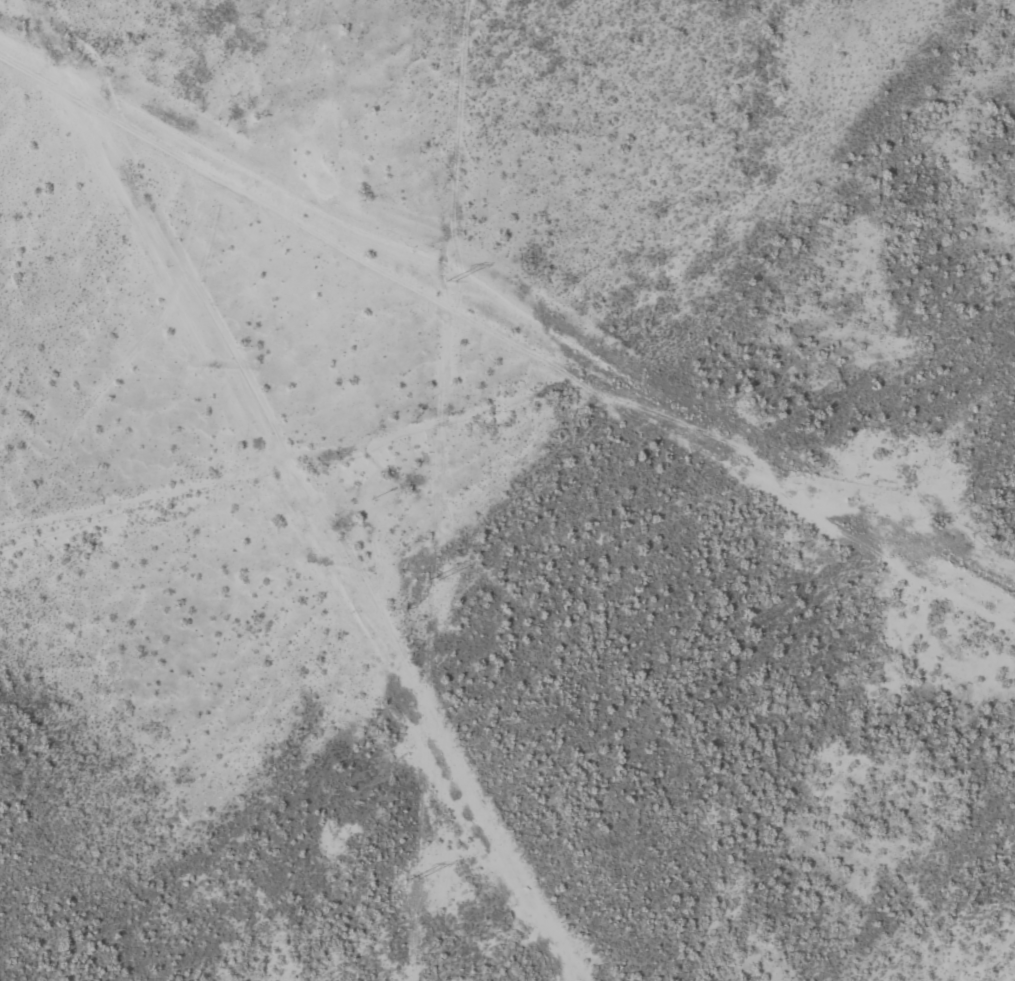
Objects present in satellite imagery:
power tower: (450, 282)
road: (506, 334)
power tower: (433, 581)
power tower: (414, 880)

